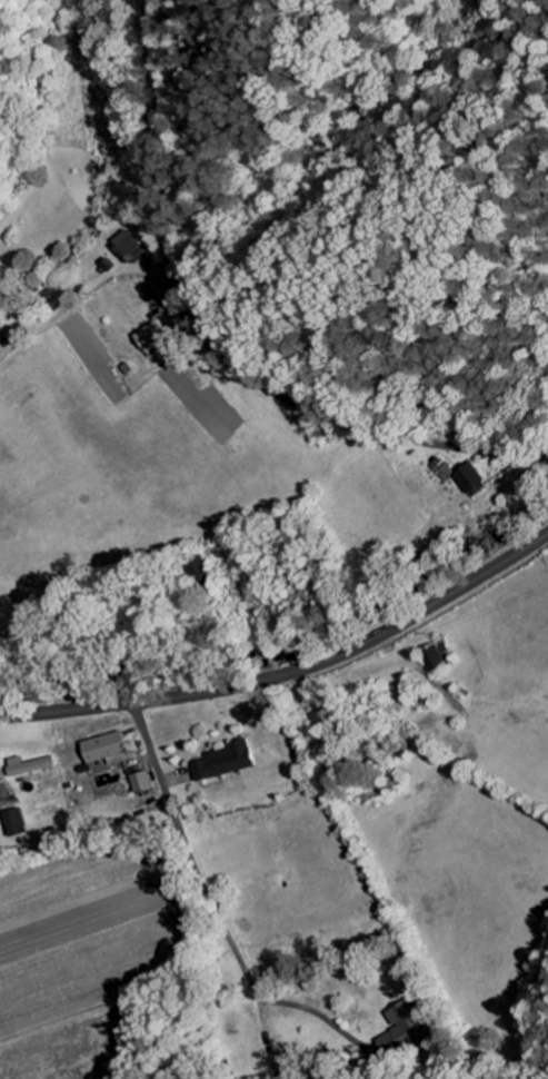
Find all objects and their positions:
building: (128, 247)
building: (149, 339)
road: (210, 350)
building: (432, 469)
building: (464, 479)
building: (434, 656)
road: (289, 673)
building: (103, 749)
building: (222, 761)
building: (27, 765)
building: (139, 781)
building: (11, 822)
road: (165, 889)
building: (402, 1028)

